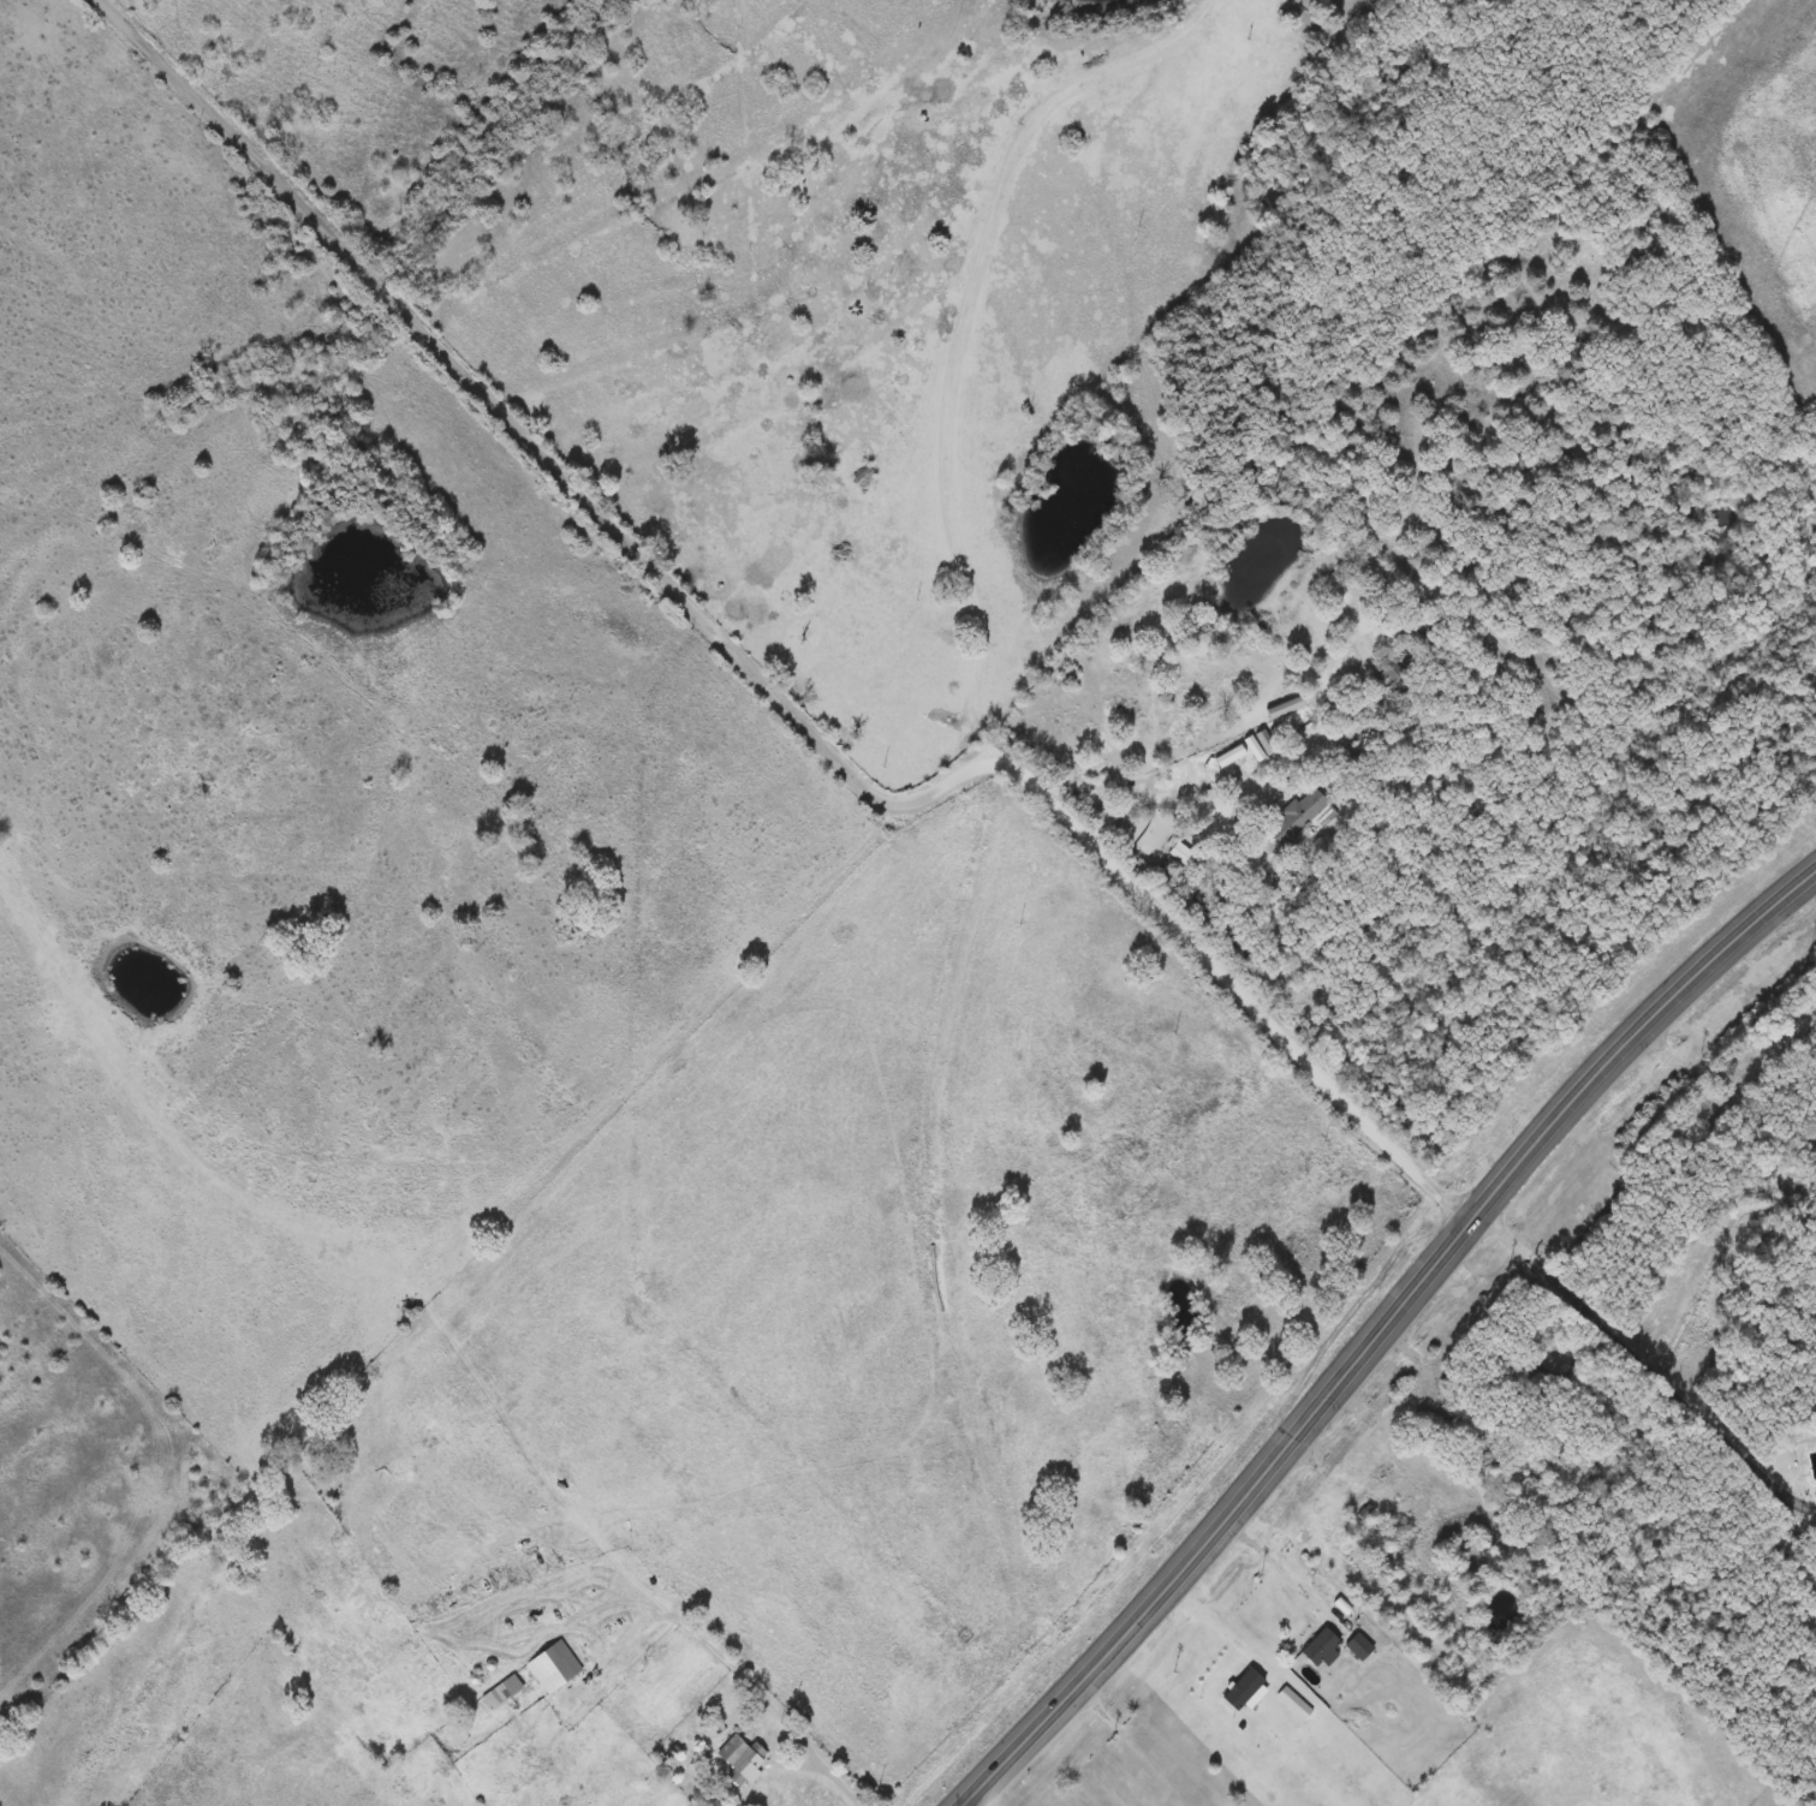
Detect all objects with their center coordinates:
road: (543, 192)
road: (412, 317)
road: (963, 330)
building: (1389, 669)
road: (1172, 795)
building: (1294, 817)
building: (1179, 854)
road: (1113, 862)
road: (1382, 1331)
road: (1644, 1364)
road: (1320, 1471)
road: (1274, 1558)
road: (594, 1610)
building: (1318, 1649)
road: (720, 1655)
building: (553, 1667)
road: (671, 1668)
building: (505, 1691)
road: (1103, 1713)
building: (739, 1759)

